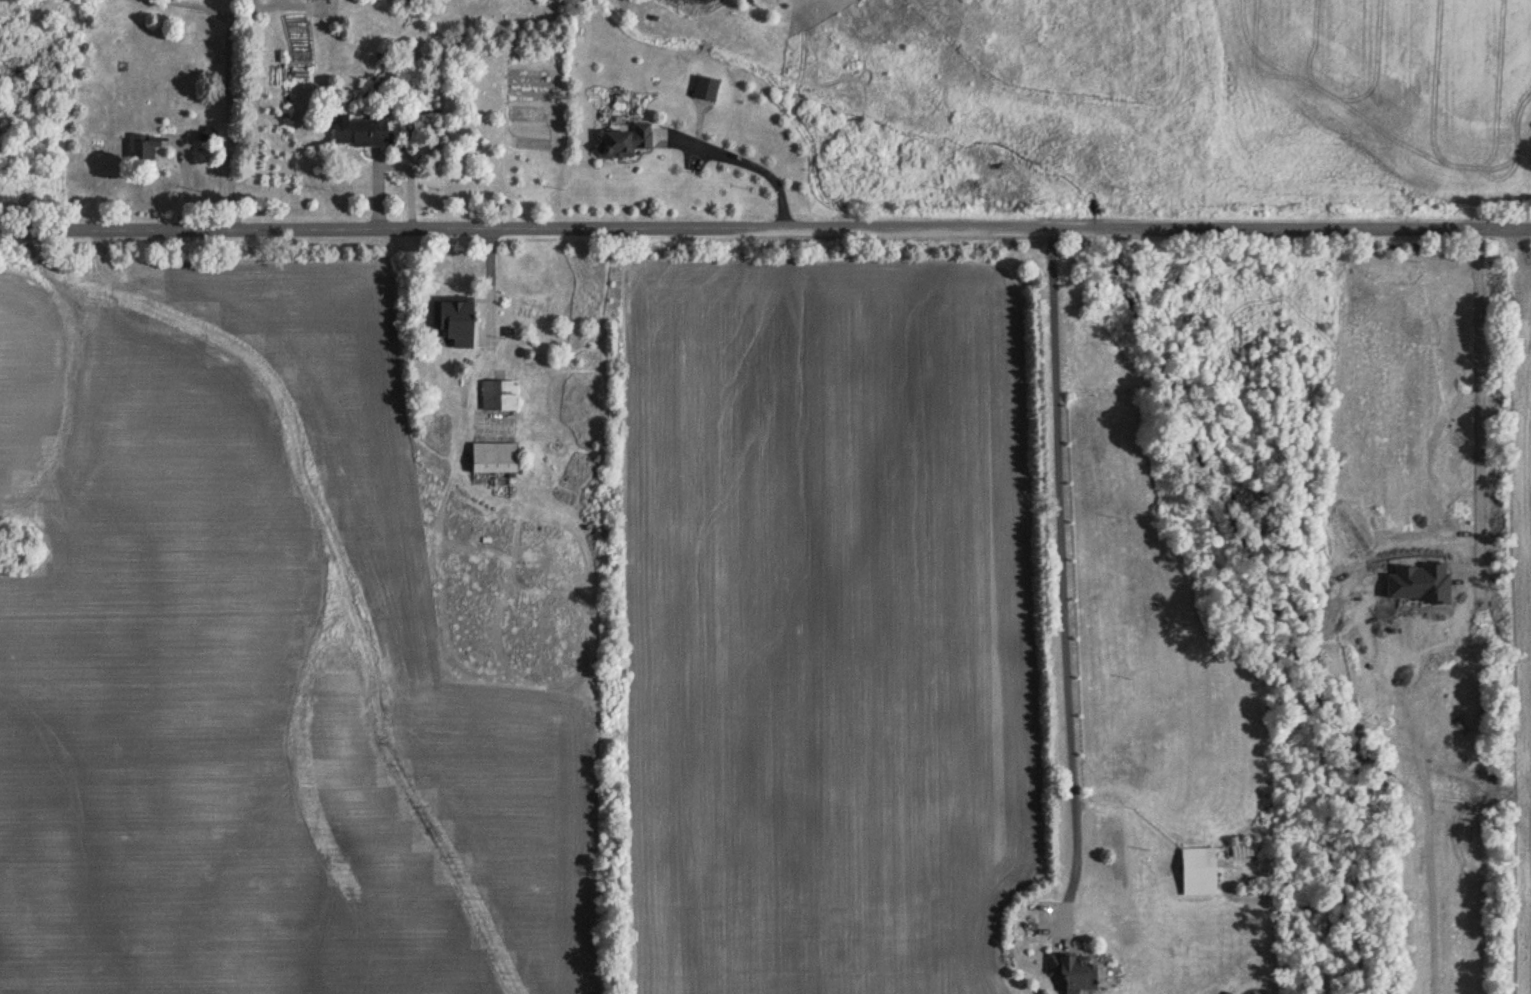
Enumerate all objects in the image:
building: (360, 130)
building: (623, 140)
building: (142, 145)
road: (744, 161)
road: (765, 229)
road: (490, 283)
building: (452, 319)
building: (498, 395)
road: (1481, 405)
building: (492, 458)
road: (1061, 576)
building: (1196, 871)
building: (1031, 928)
building: (1071, 972)

